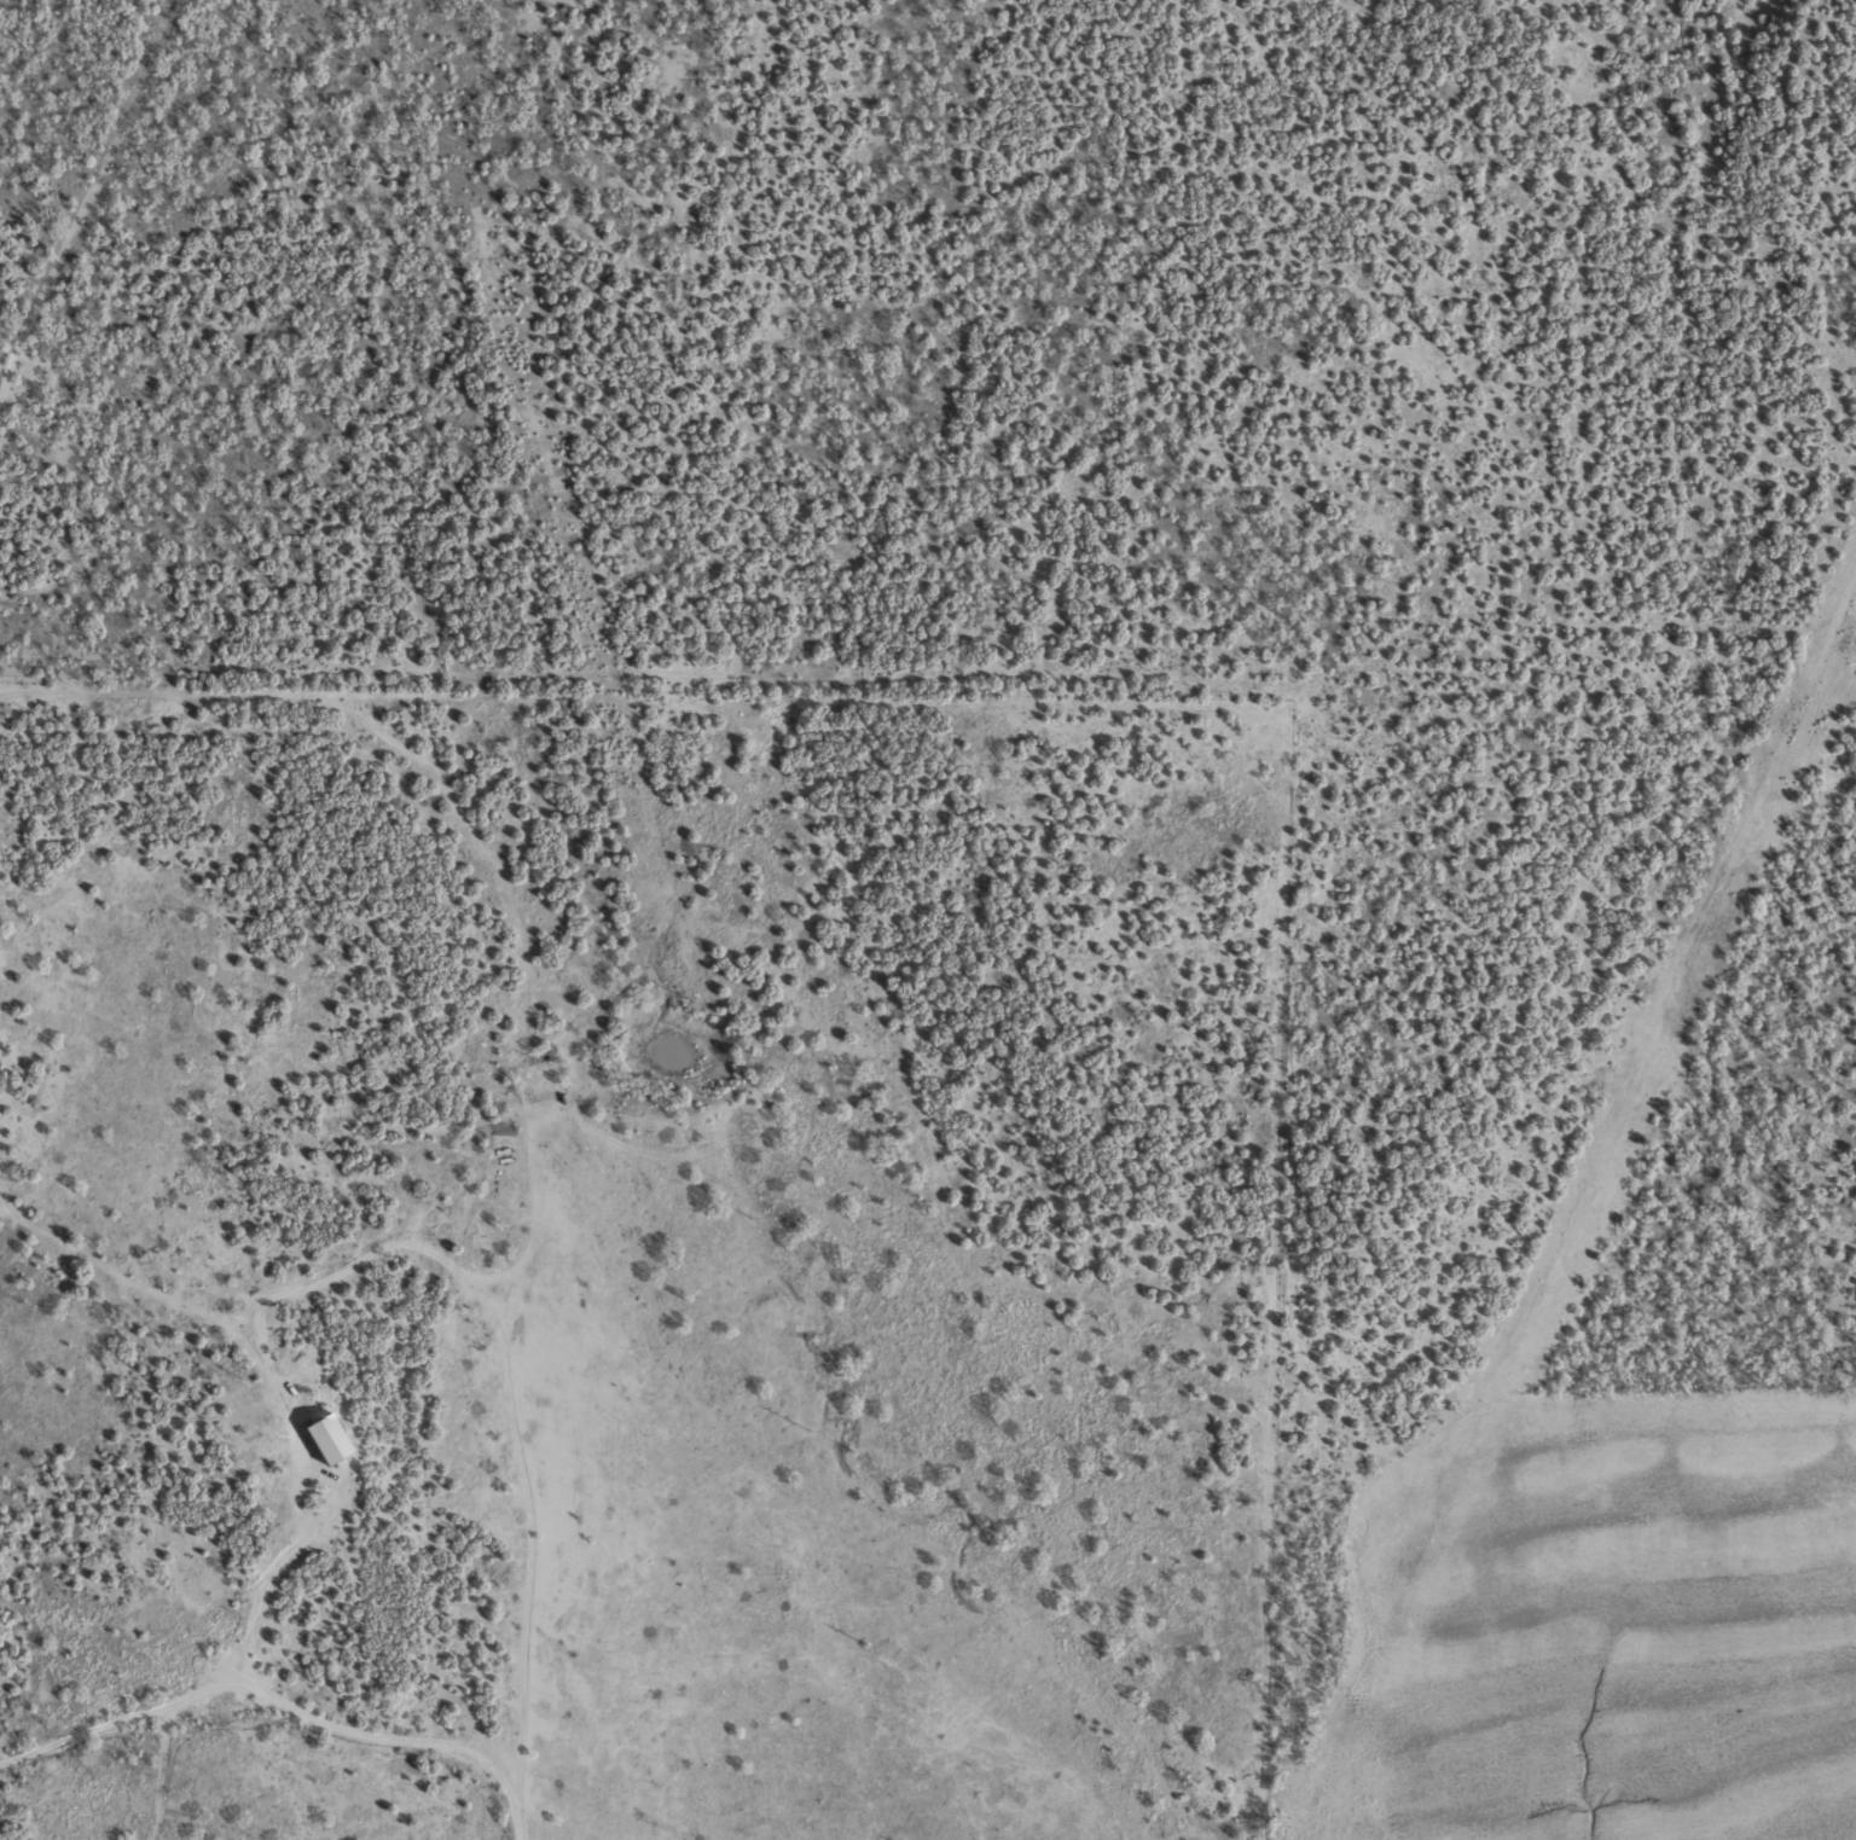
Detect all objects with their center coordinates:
road: (87, 199)
road: (984, 720)
road: (1344, 1283)
road: (257, 1331)
building: (332, 1438)

